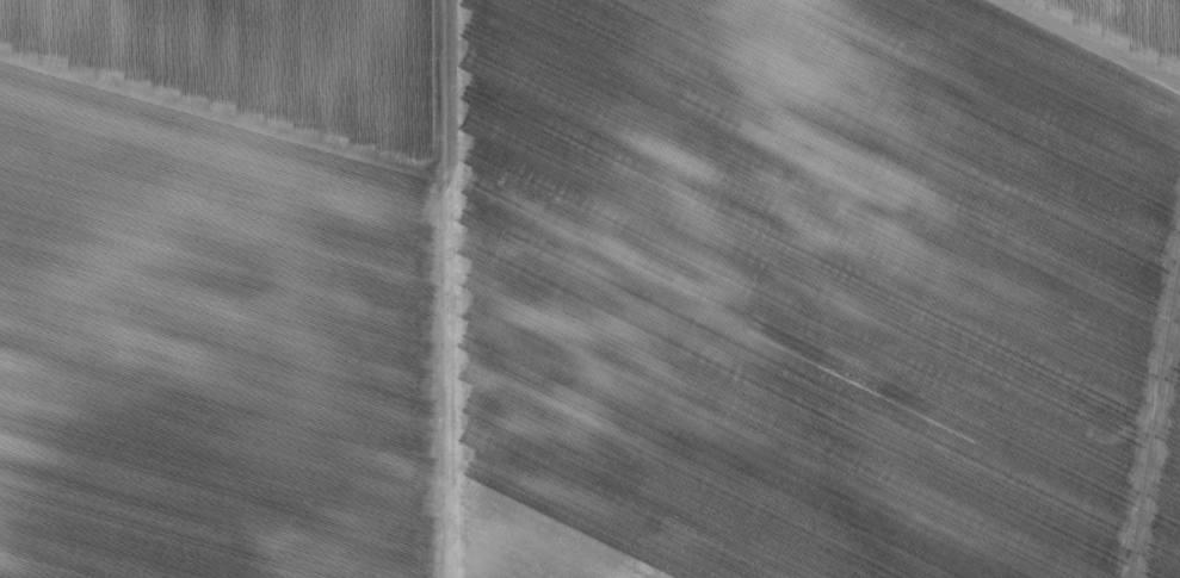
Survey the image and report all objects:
road: (1077, 46)

